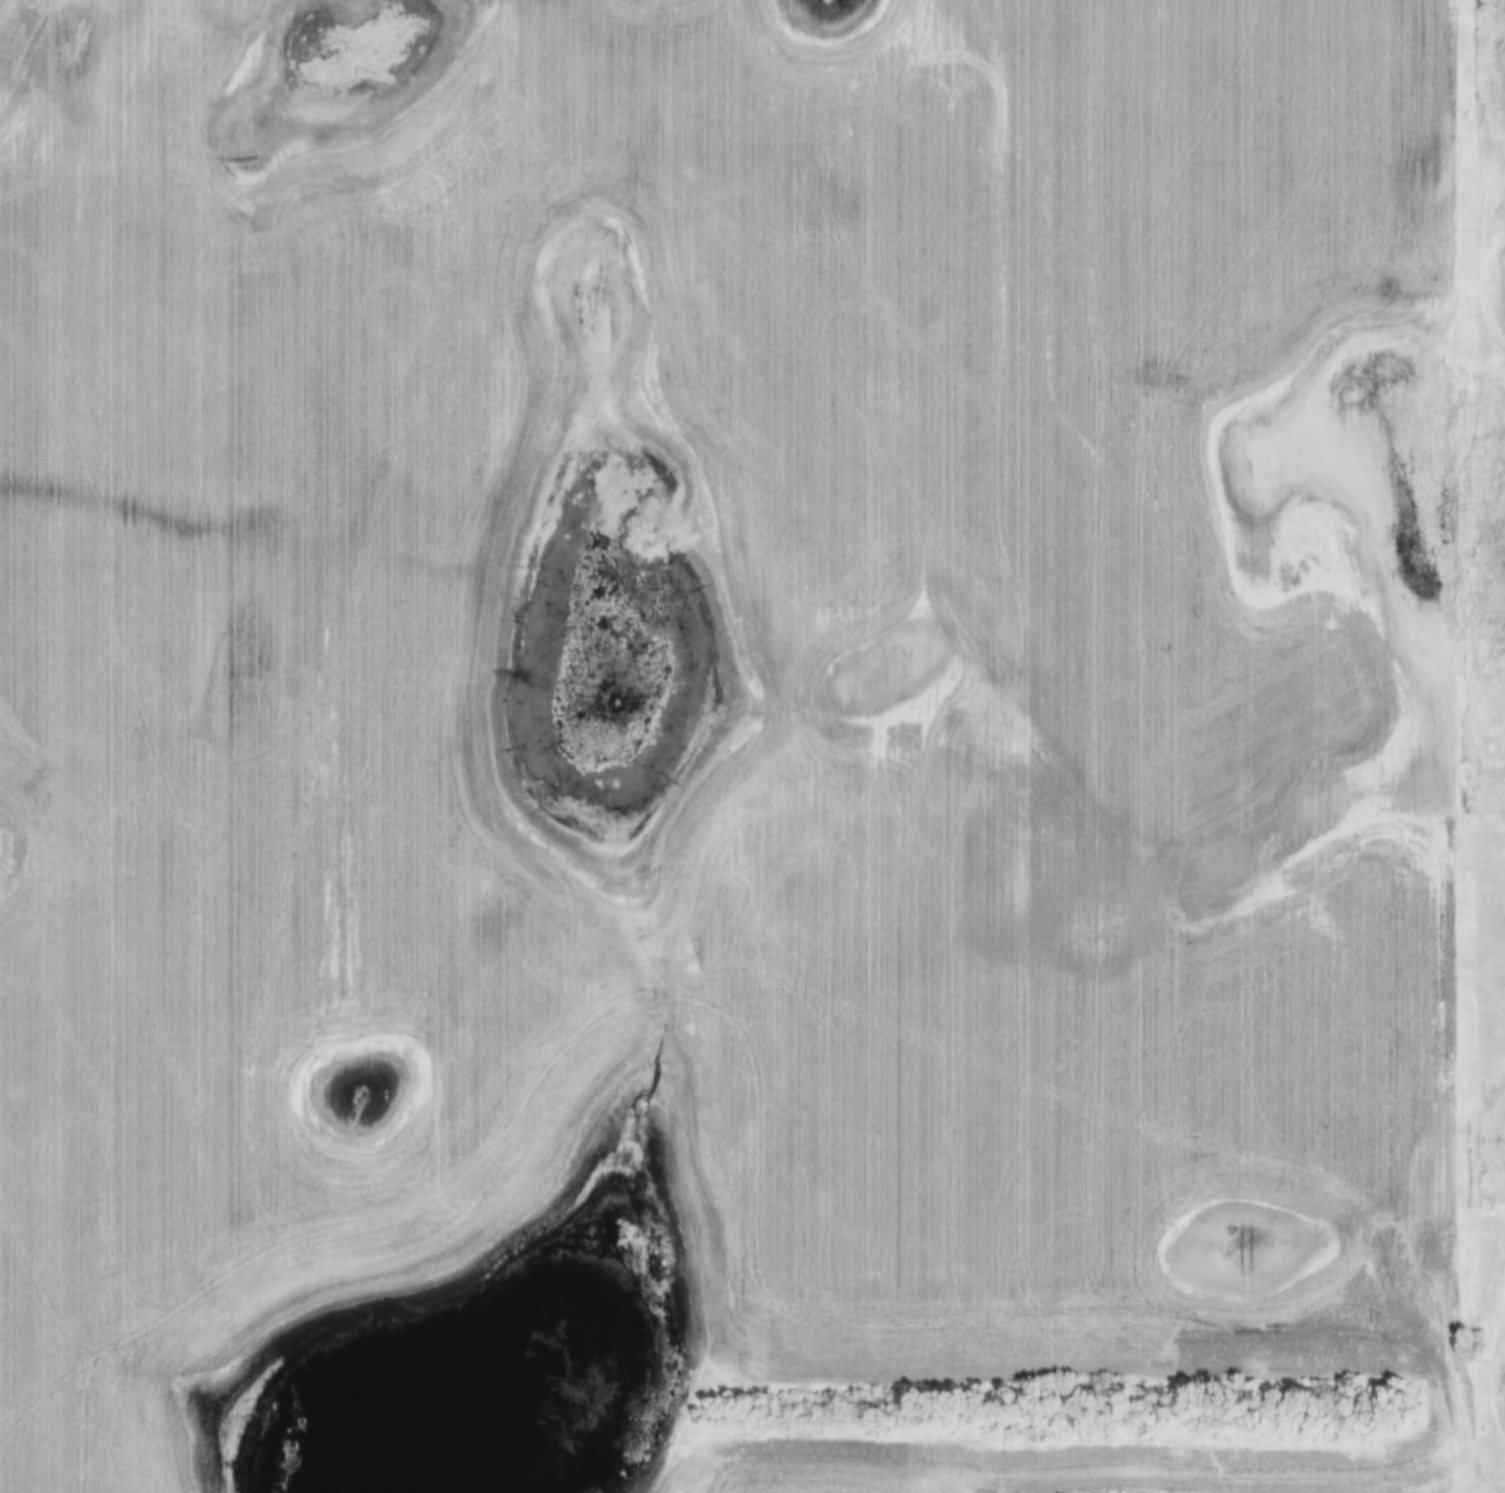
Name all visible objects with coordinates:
road: (1469, 746)

